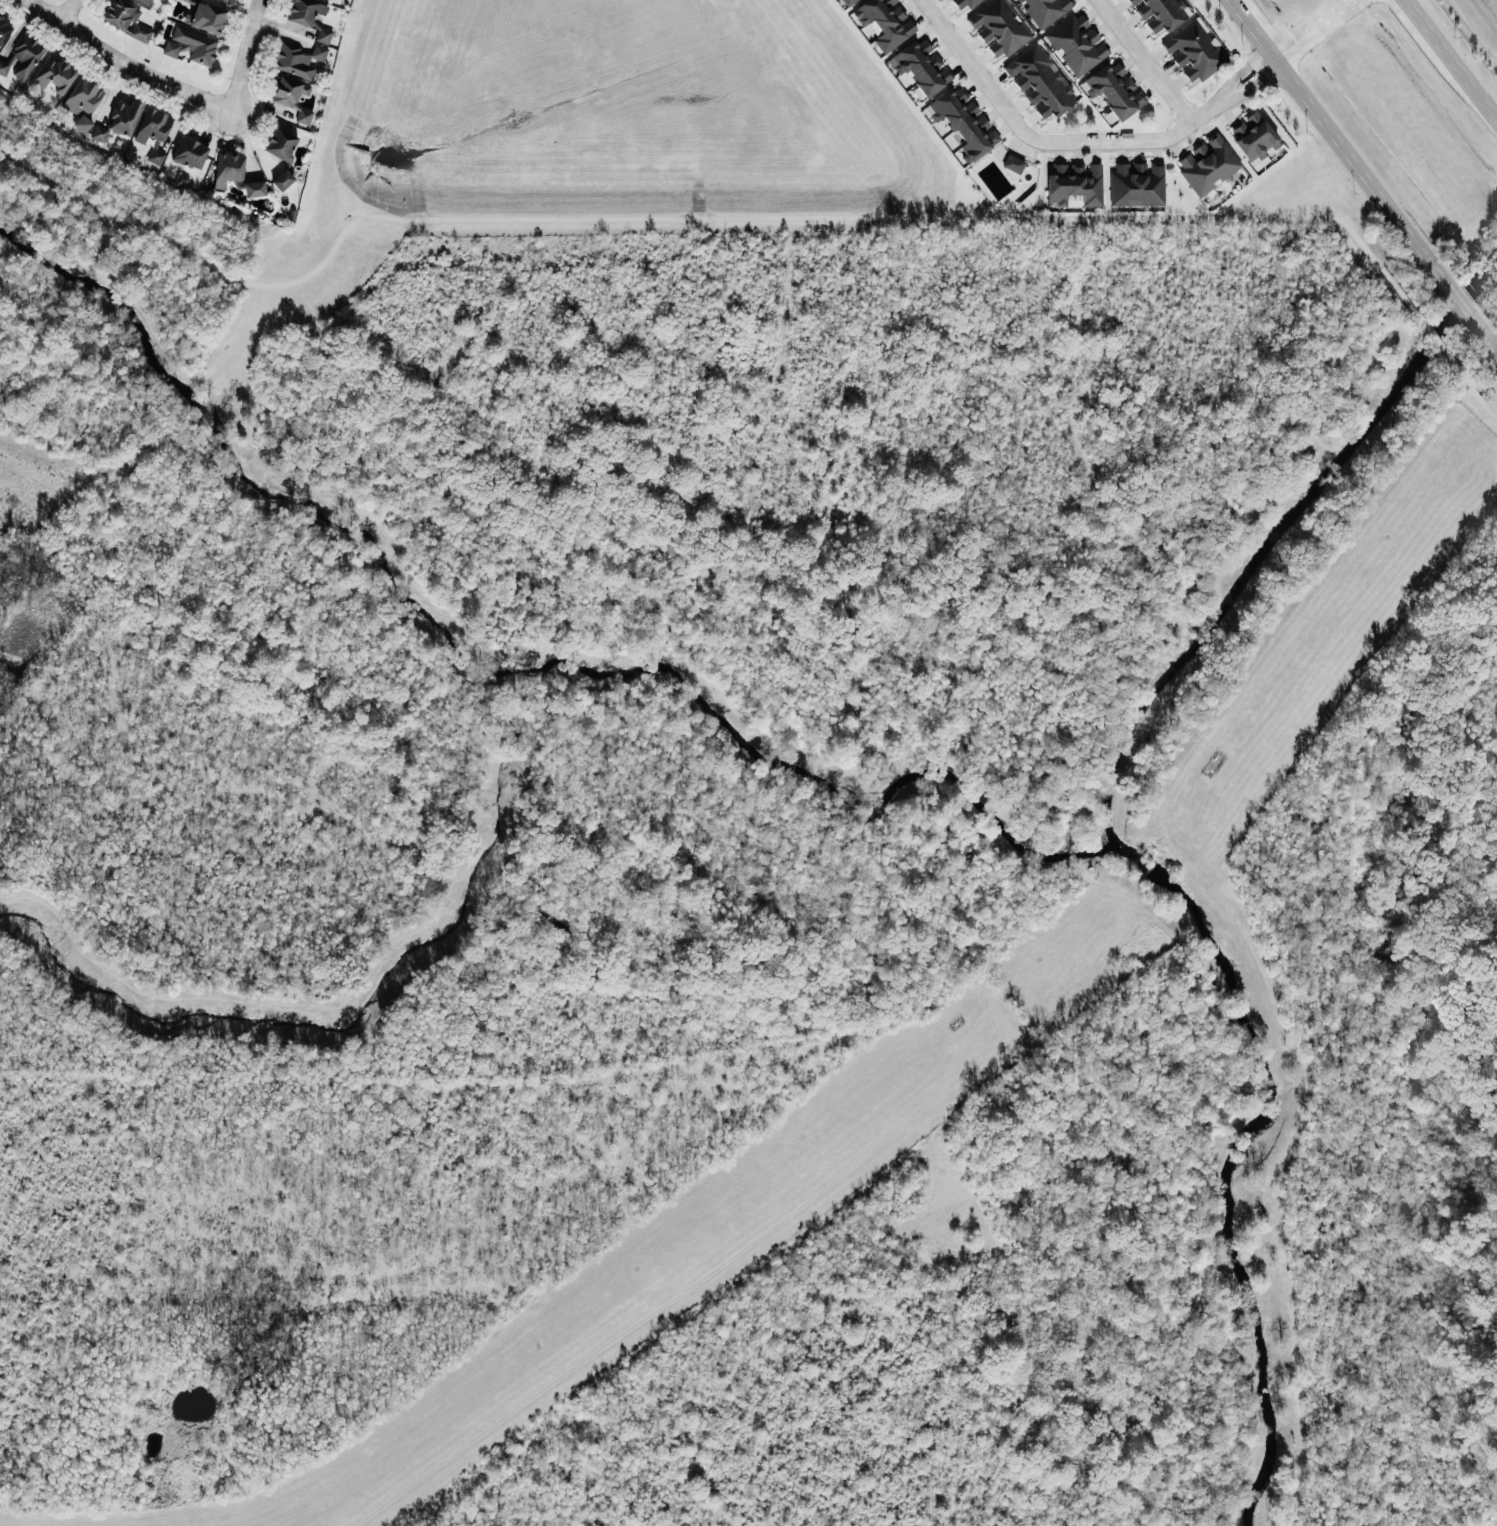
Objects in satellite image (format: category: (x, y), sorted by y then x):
building: (187, 0)
building: (146, 1)
building: (849, 2)
building: (964, 4)
road: (64, 10)
building: (1045, 10)
building: (304, 11)
building: (120, 13)
building: (1160, 13)
building: (205, 18)
building: (885, 22)
road: (1427, 26)
building: (999, 27)
road: (1255, 28)
road: (1313, 28)
building: (4, 30)
building: (140, 33)
building: (323, 35)
building: (1077, 44)
building: (191, 45)
building: (1193, 51)
road: (243, 54)
building: (25, 56)
building: (298, 60)
road: (1142, 61)
road: (124, 63)
building: (921, 66)
building: (3, 67)
road: (977, 72)
road: (1241, 72)
building: (55, 75)
building: (1040, 82)
road: (1251, 84)
road: (1472, 84)
building: (1114, 90)
building: (292, 98)
building: (83, 102)
building: (119, 120)
building: (964, 122)
building: (153, 126)
building: (1254, 137)
road: (1132, 138)
building: (281, 146)
building: (190, 153)
building: (156, 154)
road: (1351, 156)
building: (1013, 163)
building: (1207, 164)
building: (228, 168)
building: (282, 180)
building: (1075, 183)
building: (1137, 184)
building: (254, 189)
road: (667, 217)
road: (1460, 302)
road: (1425, 327)
road: (1496, 349)
road: (1482, 404)
road: (508, 713)
road: (777, 738)
river: (840, 788)

